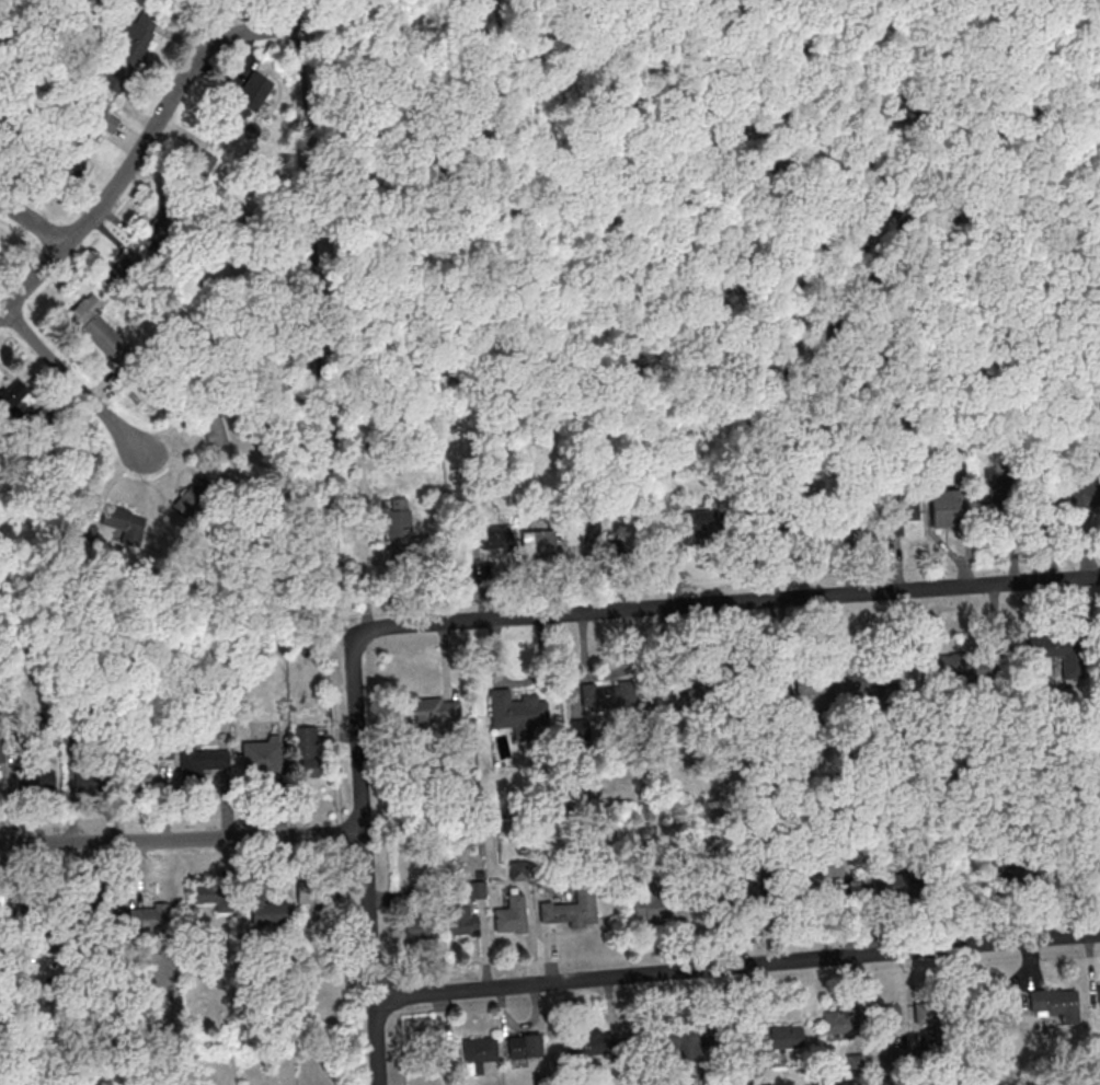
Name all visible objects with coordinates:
road: (306, 1)
road: (298, 13)
building: (128, 51)
road: (1012, 94)
road: (557, 95)
building: (27, 116)
road: (1038, 117)
building: (108, 122)
building: (302, 139)
road: (137, 152)
building: (205, 162)
building: (67, 169)
road: (711, 171)
road: (34, 222)
building: (162, 224)
building: (317, 231)
building: (124, 273)
building: (99, 330)
road: (316, 334)
road: (70, 381)
building: (12, 399)
building: (214, 428)
building: (1084, 496)
building: (193, 498)
building: (501, 500)
building: (993, 506)
building: (946, 507)
building: (398, 511)
building: (901, 515)
building: (125, 522)
building: (692, 524)
building: (856, 526)
building: (784, 527)
building: (621, 530)
building: (87, 532)
building: (538, 541)
road: (725, 601)
building: (1052, 656)
building: (955, 663)
building: (873, 677)
building: (800, 682)
building: (608, 693)
building: (701, 694)
building: (426, 708)
building: (516, 709)
building: (307, 750)
building: (1097, 754)
building: (261, 755)
building: (203, 761)
building: (1029, 763)
building: (951, 767)
building: (146, 772)
building: (34, 780)
building: (89, 780)
road: (181, 836)
road: (364, 861)
building: (1093, 865)
building: (1010, 869)
building: (903, 872)
building: (817, 877)
building: (740, 882)
building: (313, 891)
building: (660, 900)
building: (1, 901)
building: (36, 904)
building: (208, 908)
building: (101, 909)
building: (271, 912)
building: (568, 913)
building: (512, 916)
building: (150, 917)
building: (462, 921)
building: (421, 927)
road: (737, 963)
building: (1099, 993)
building: (1055, 1003)
building: (987, 1011)
building: (927, 1012)
building: (884, 1013)
building: (835, 1021)
building: (585, 1042)
building: (775, 1043)
building: (681, 1044)
building: (525, 1046)
building: (479, 1053)

